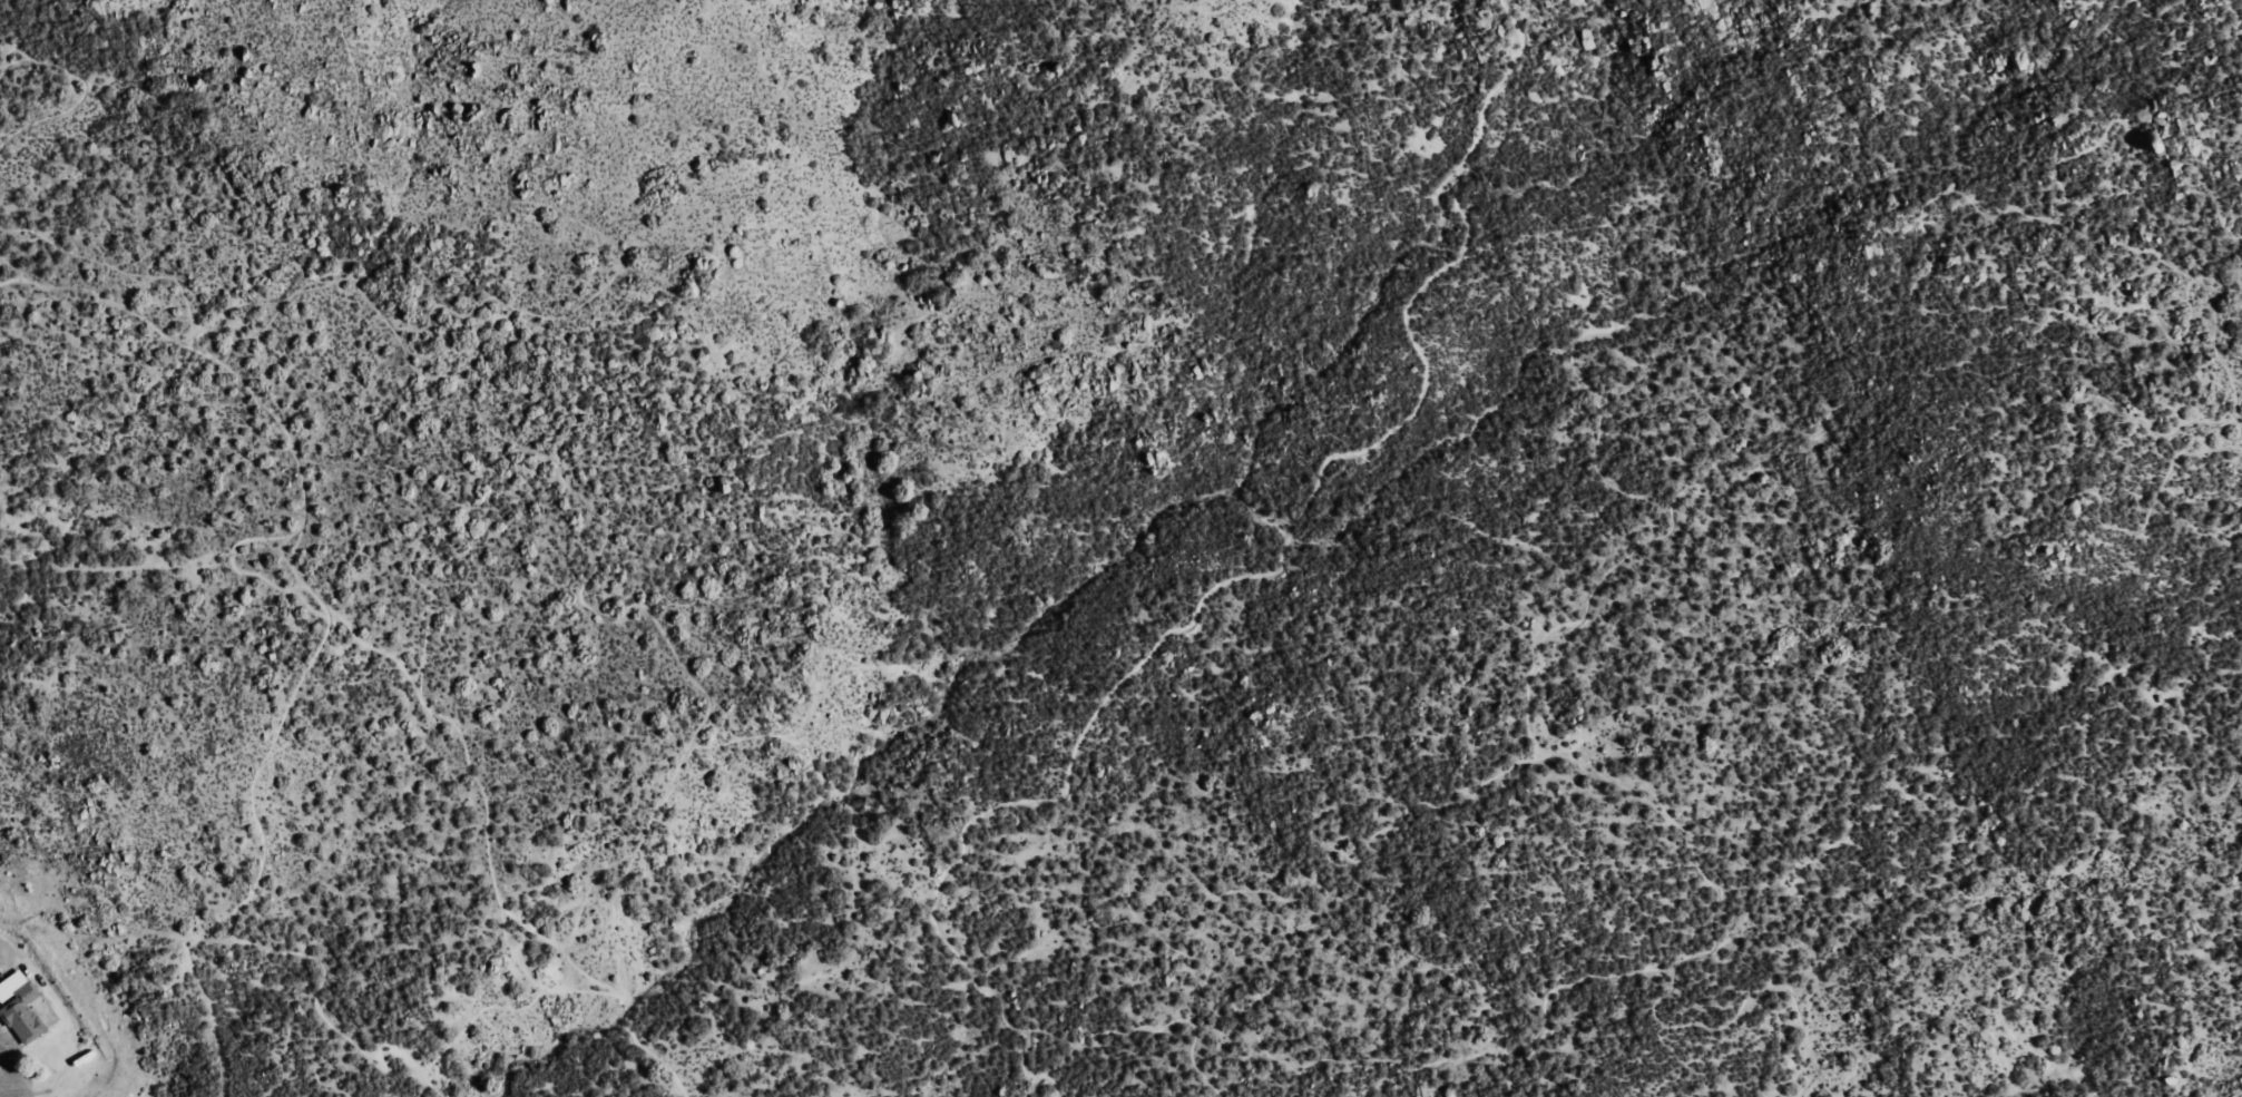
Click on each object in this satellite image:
road: (1181, 625)
road: (2089, 809)
road: (1651, 970)

